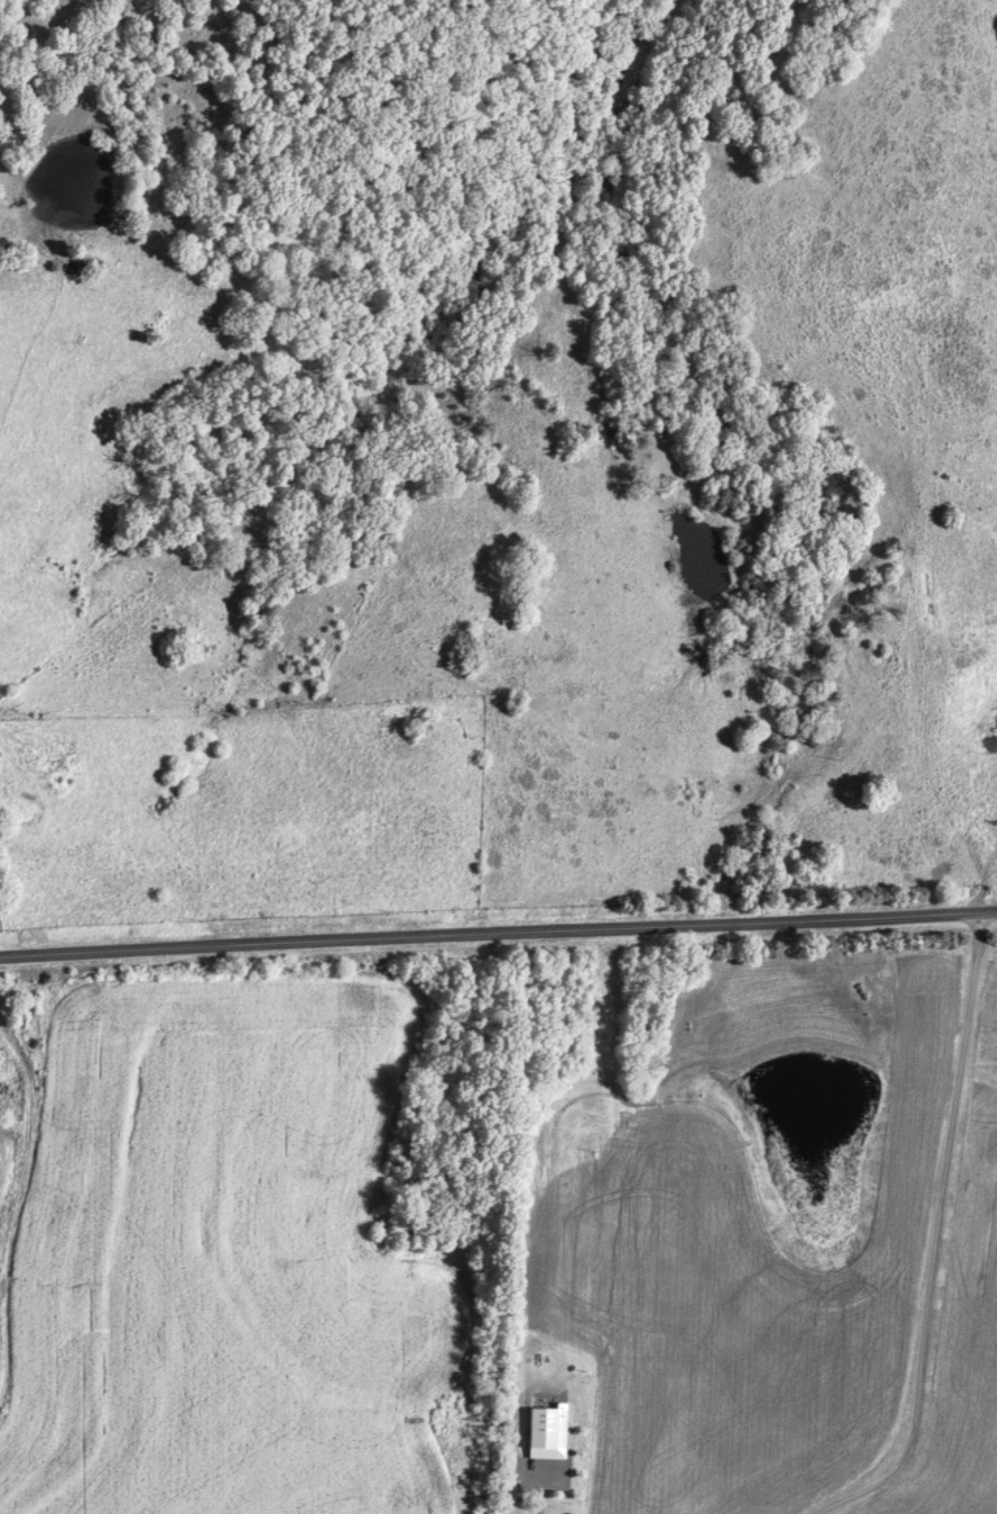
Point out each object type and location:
road: (498, 932)
road: (26, 1147)
road: (940, 1235)
road: (1, 1377)
building: (542, 1432)

